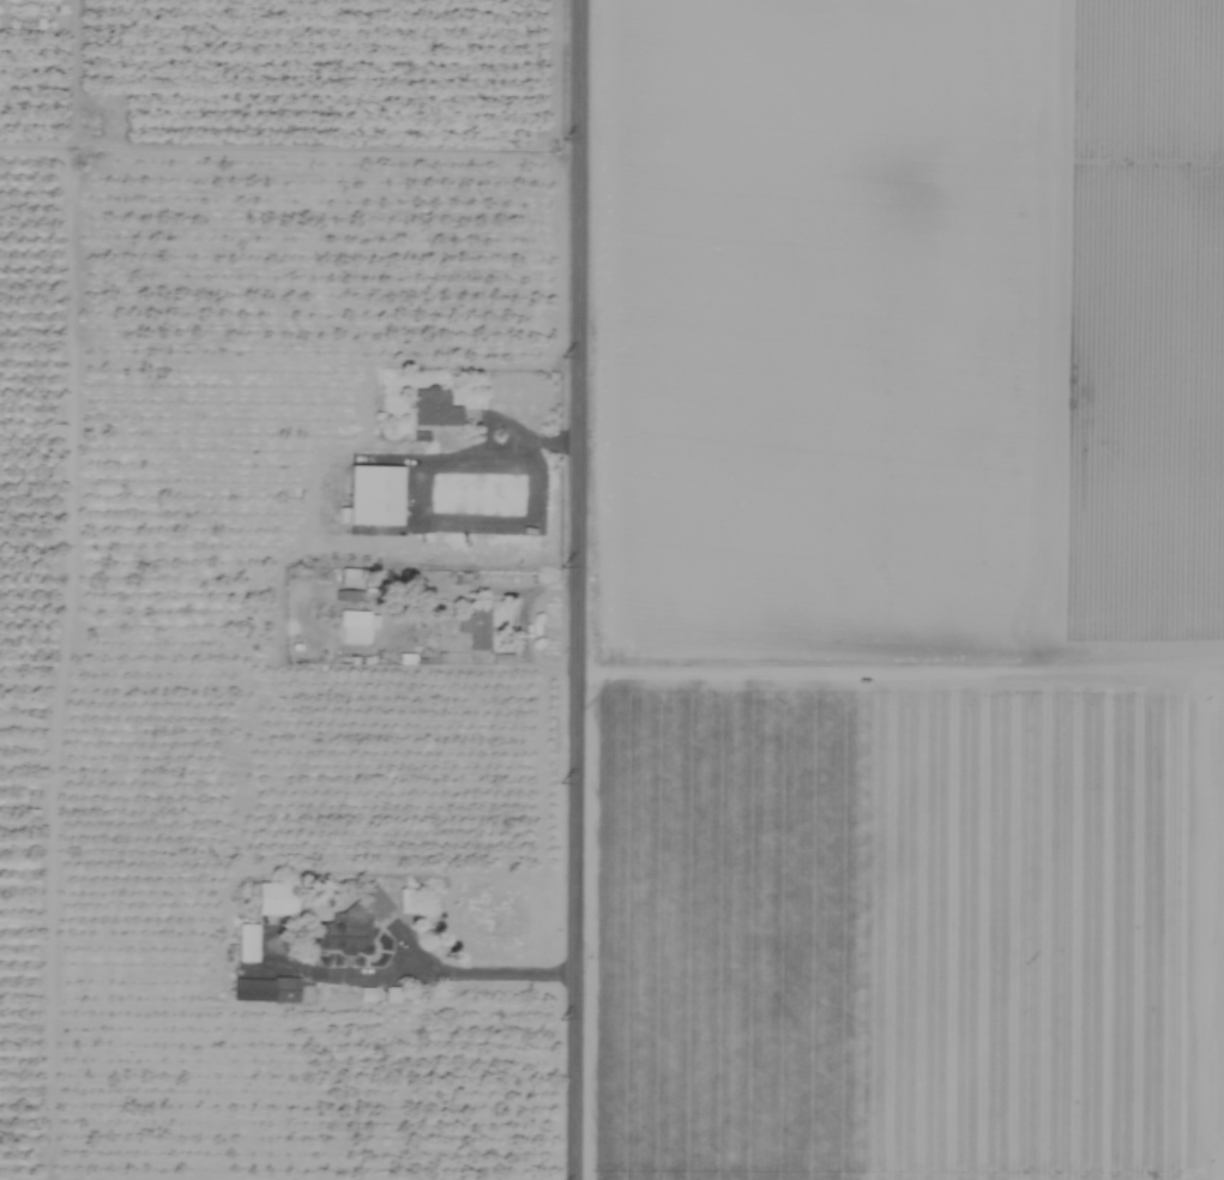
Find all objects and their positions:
building: (433, 409)
building: (373, 496)
road: (575, 590)
crop: (611, 590)
building: (355, 627)
building: (475, 628)
building: (273, 899)
building: (403, 902)
building: (343, 933)
building: (246, 944)
road: (435, 970)
building: (264, 991)

